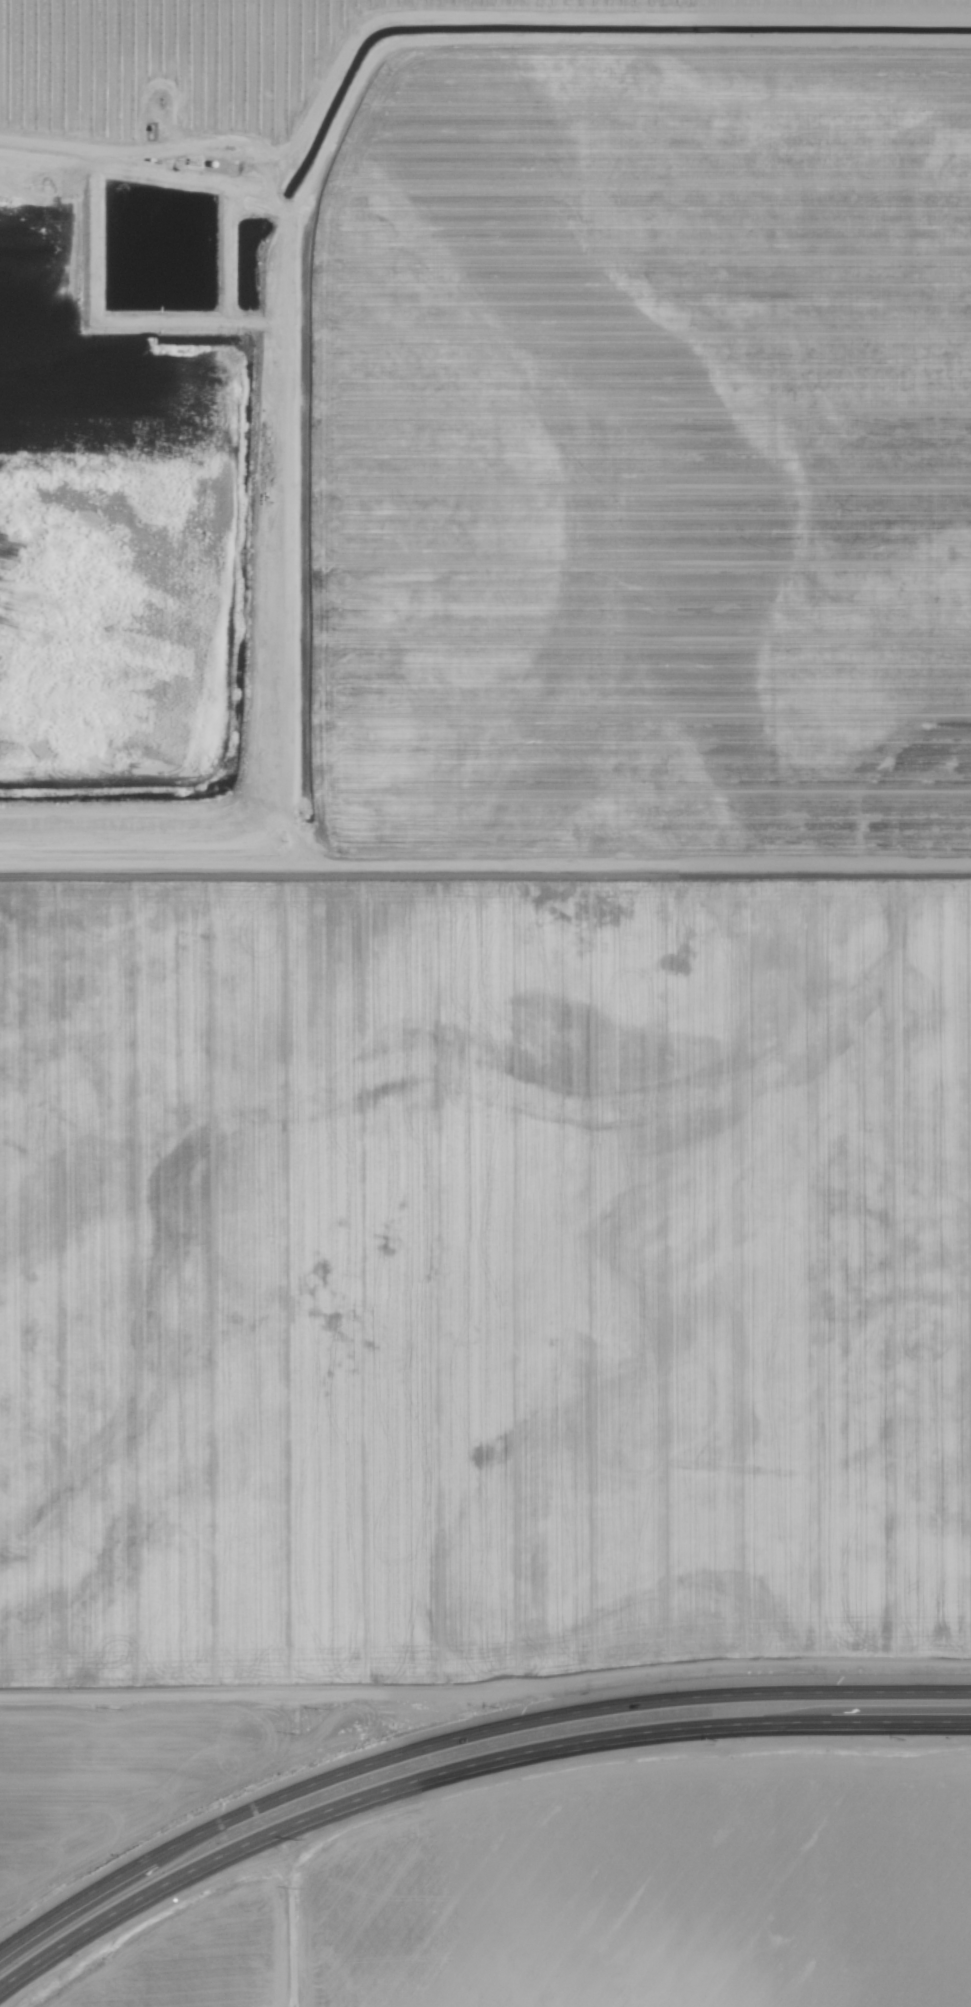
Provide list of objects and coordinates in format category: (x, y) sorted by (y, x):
road: (461, 1737)
road: (460, 1767)

